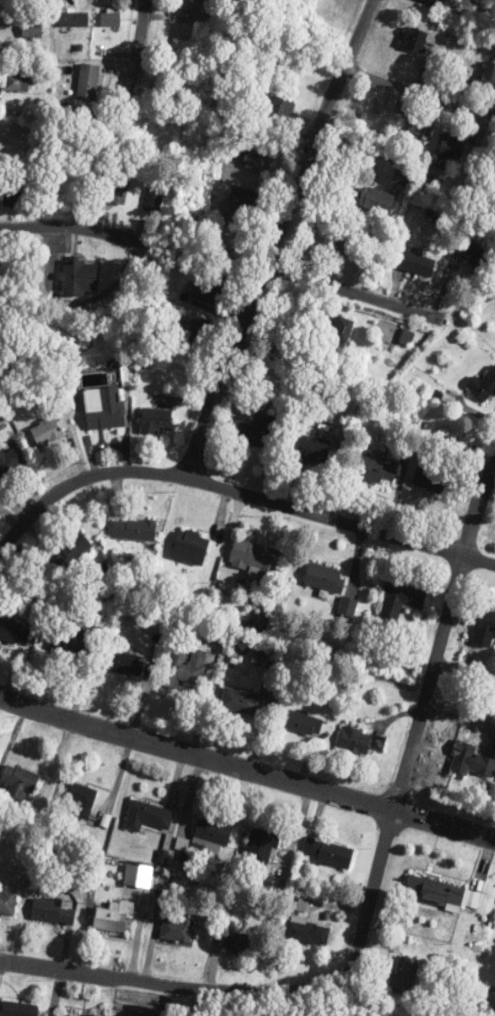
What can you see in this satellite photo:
building: (188, 6)
building: (111, 20)
building: (73, 21)
building: (31, 30)
building: (415, 41)
road: (137, 51)
building: (488, 78)
building: (14, 84)
building: (88, 84)
road: (413, 88)
building: (280, 112)
building: (419, 127)
building: (453, 148)
building: (255, 156)
building: (215, 191)
building: (119, 192)
building: (153, 200)
building: (375, 201)
building: (247, 204)
road: (63, 226)
road: (276, 236)
building: (342, 247)
building: (478, 259)
building: (417, 266)
building: (80, 277)
road: (352, 292)
building: (210, 293)
building: (196, 329)
building: (339, 337)
building: (483, 388)
building: (104, 409)
building: (156, 421)
building: (256, 431)
building: (46, 433)
building: (314, 450)
building: (9, 464)
building: (375, 470)
building: (427, 476)
road: (235, 490)
building: (134, 531)
building: (192, 542)
building: (256, 561)
building: (325, 578)
building: (399, 603)
building: (484, 630)
building: (11, 632)
road: (441, 639)
building: (69, 642)
building: (123, 665)
building: (190, 669)
building: (239, 703)
building: (303, 724)
building: (361, 741)
building: (470, 762)
road: (246, 770)
building: (19, 784)
building: (78, 800)
building: (147, 817)
building: (211, 838)
building: (261, 844)
building: (329, 854)
building: (441, 895)
building: (8, 904)
building: (51, 912)
building: (113, 920)
building: (177, 930)
building: (309, 934)
building: (242, 944)
building: (406, 974)
road: (261, 991)
building: (18, 1010)
building: (88, 1015)

